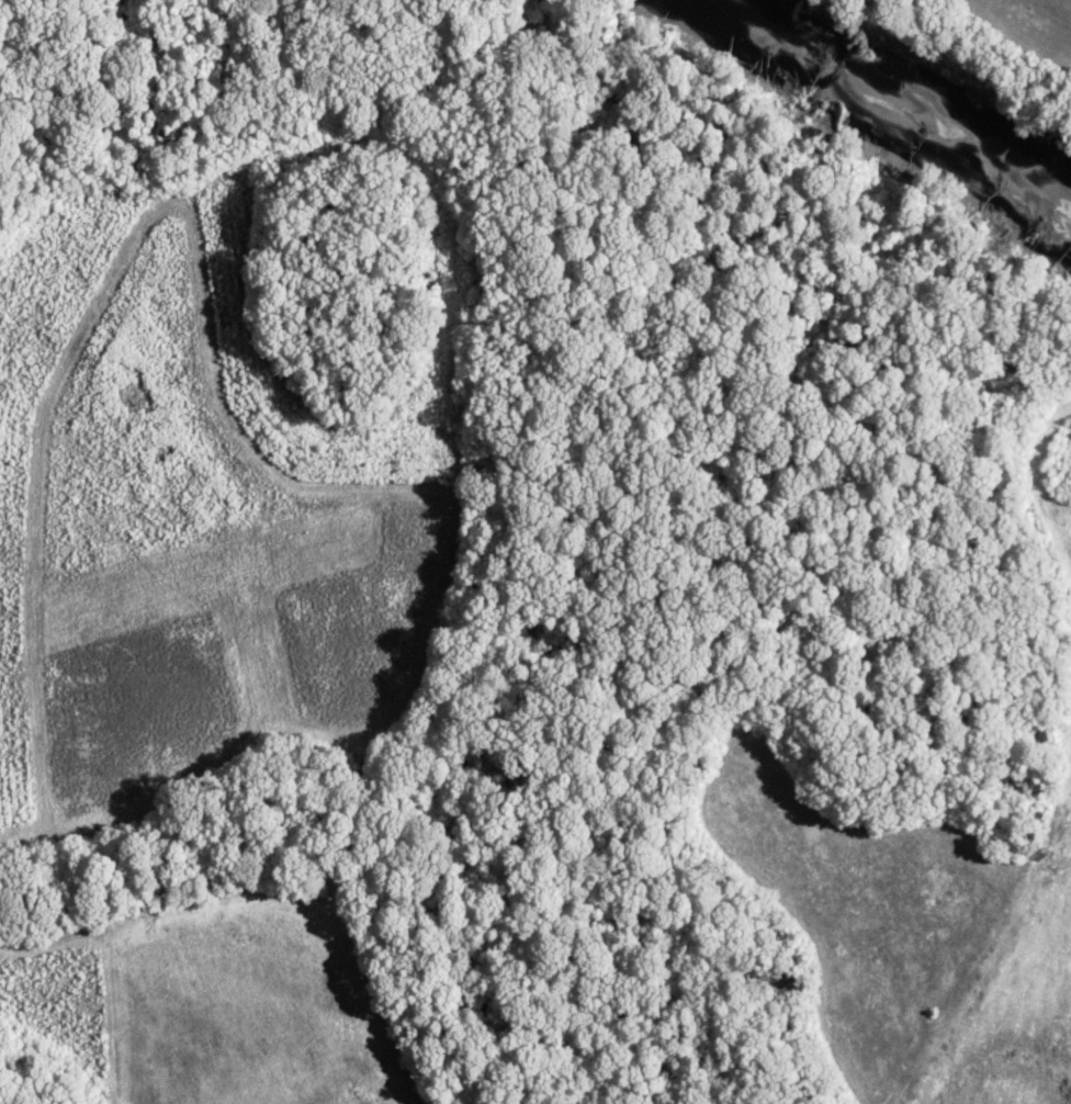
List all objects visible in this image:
river: (890, 95)

